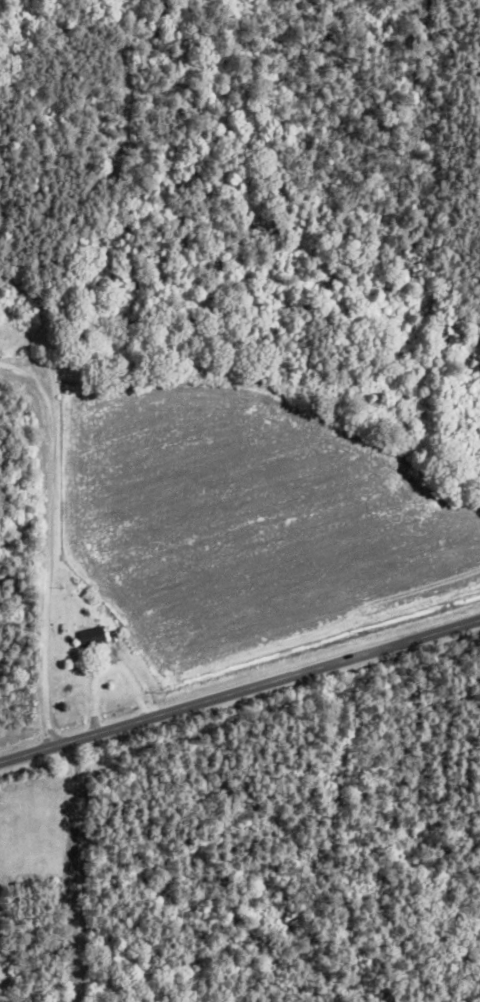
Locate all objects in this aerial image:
road: (122, 362)
road: (51, 538)
building: (93, 636)
road: (239, 685)
road: (72, 868)

